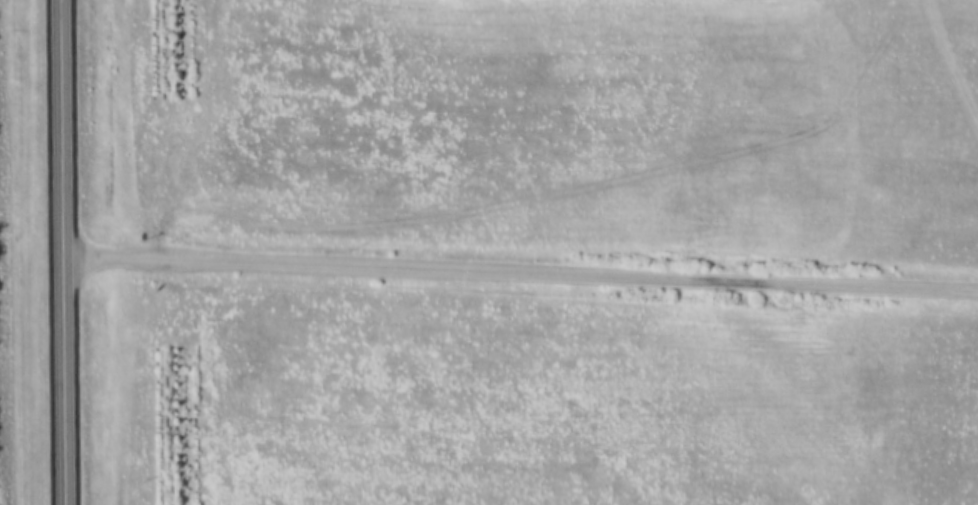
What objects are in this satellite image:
road: (58, 252)
road: (518, 267)

